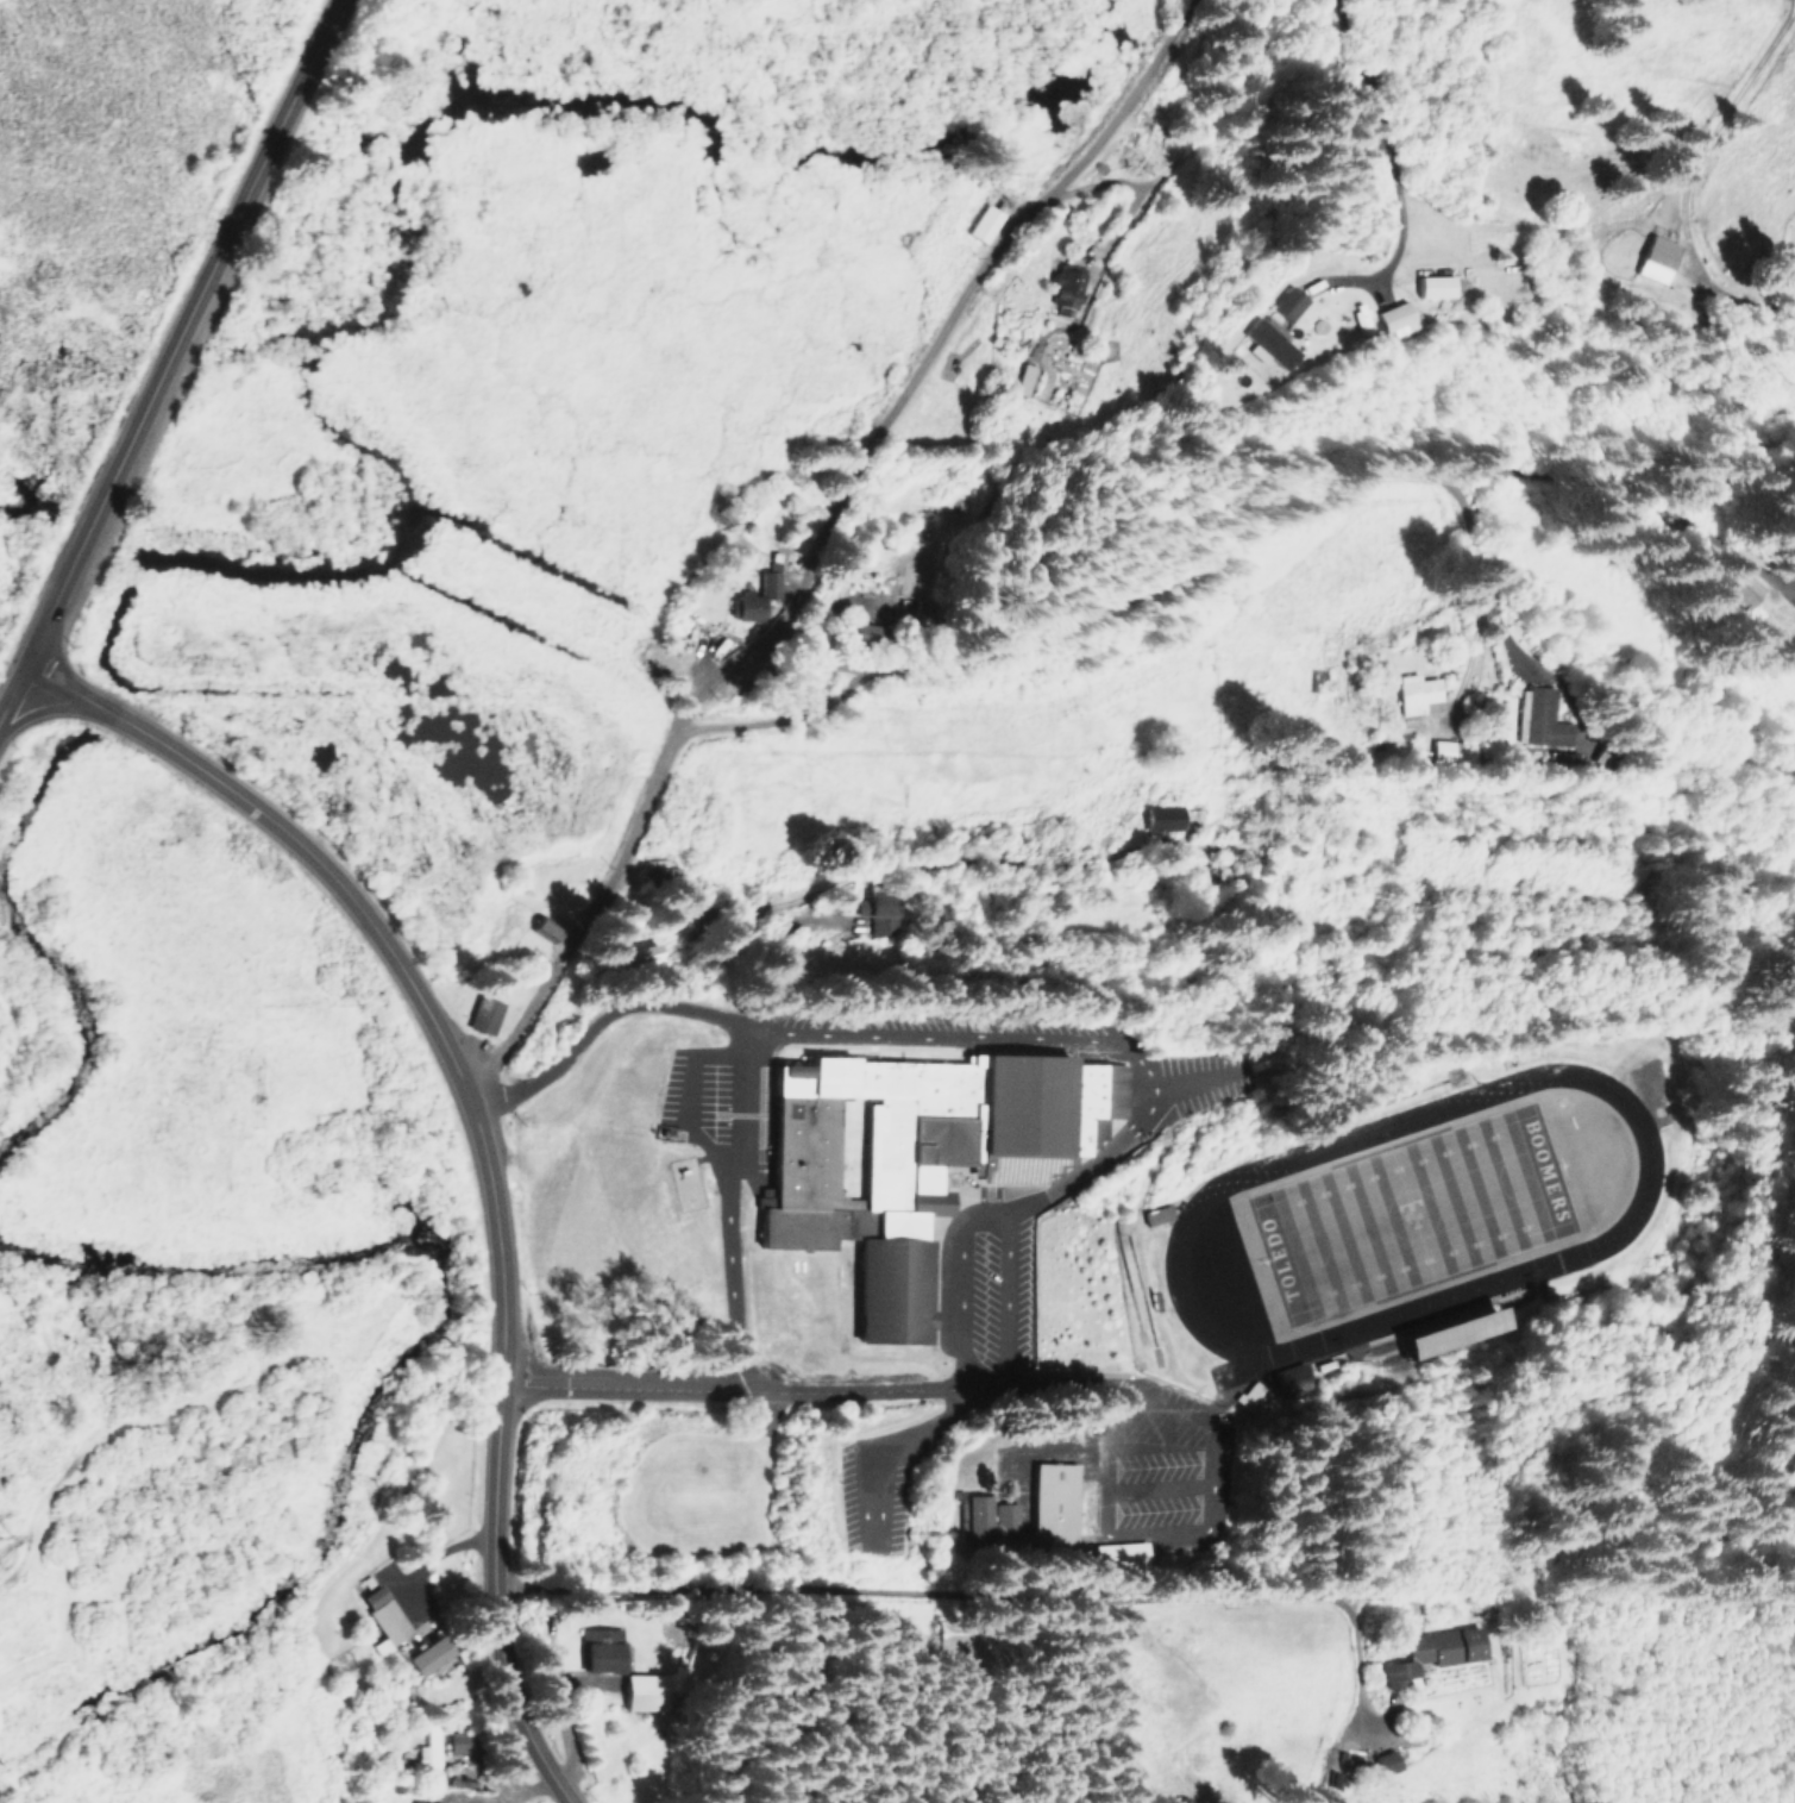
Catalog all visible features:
road: (1470, 20)
road: (935, 144)
building: (983, 223)
building: (1655, 257)
building: (1432, 286)
building: (1065, 288)
building: (1286, 302)
building: (1360, 317)
building: (1393, 318)
building: (1267, 343)
road: (171, 356)
building: (1019, 377)
road: (1231, 540)
road: (820, 543)
building: (1737, 587)
building: (754, 596)
building: (861, 634)
building: (1414, 691)
road: (46, 710)
building: (1542, 722)
building: (1442, 750)
building: (1161, 816)
road: (285, 832)
road: (929, 871)
building: (880, 910)
building: (544, 927)
building: (482, 1014)
road: (1006, 1035)
road: (467, 1097)
road: (714, 1157)
building: (909, 1157)
building: (1153, 1214)
track: (1614, 1223)
road: (732, 1281)
road: (960, 1296)
building: (1449, 1331)
building: (1289, 1379)
road: (826, 1389)
building: (1251, 1396)
road: (496, 1463)
building: (1050, 1504)
building: (987, 1519)
building: (1116, 1553)
road: (918, 1597)
road: (1570, 1599)
building: (382, 1616)
building: (598, 1648)
building: (1430, 1652)
building: (426, 1654)
building: (642, 1691)
building: (428, 1751)
building: (1382, 1760)
building: (418, 1801)

